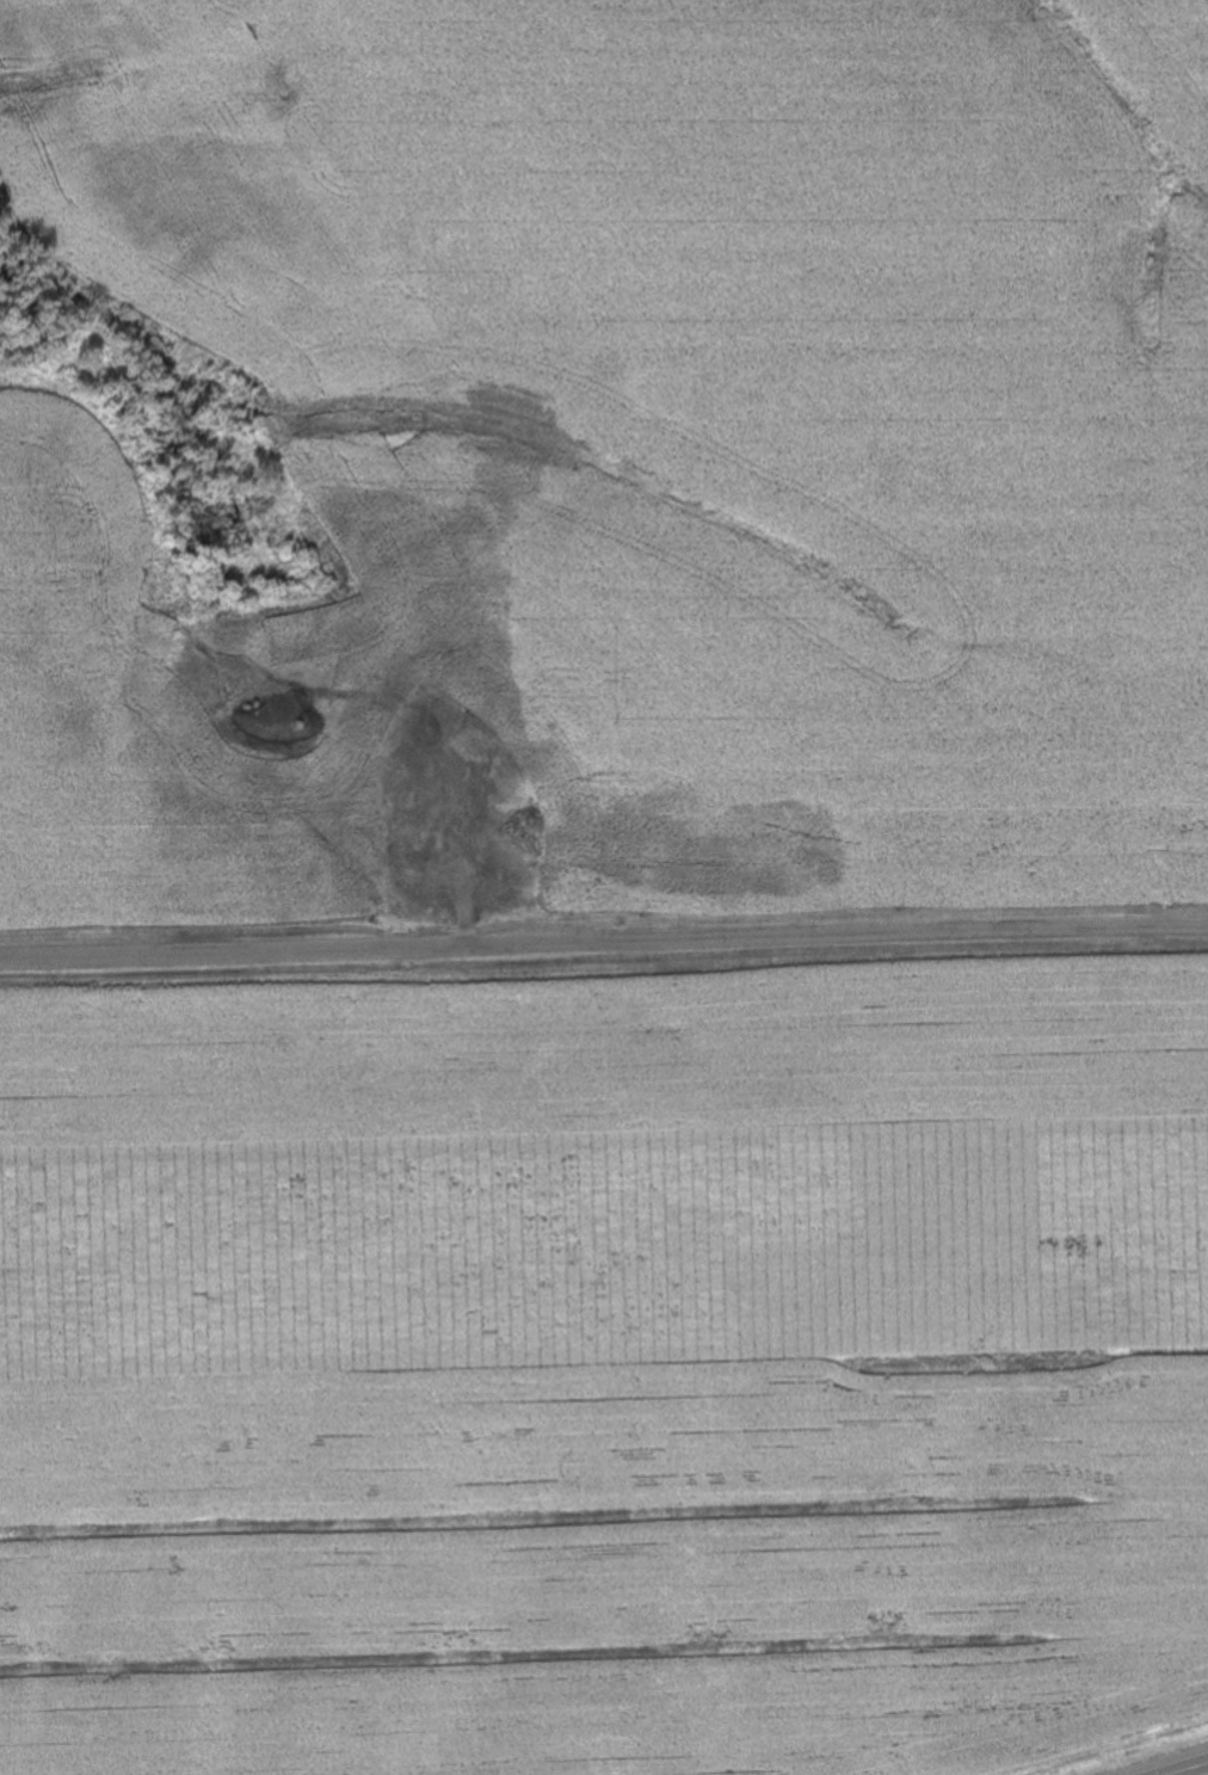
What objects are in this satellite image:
road: (604, 942)
road: (1183, 1768)

